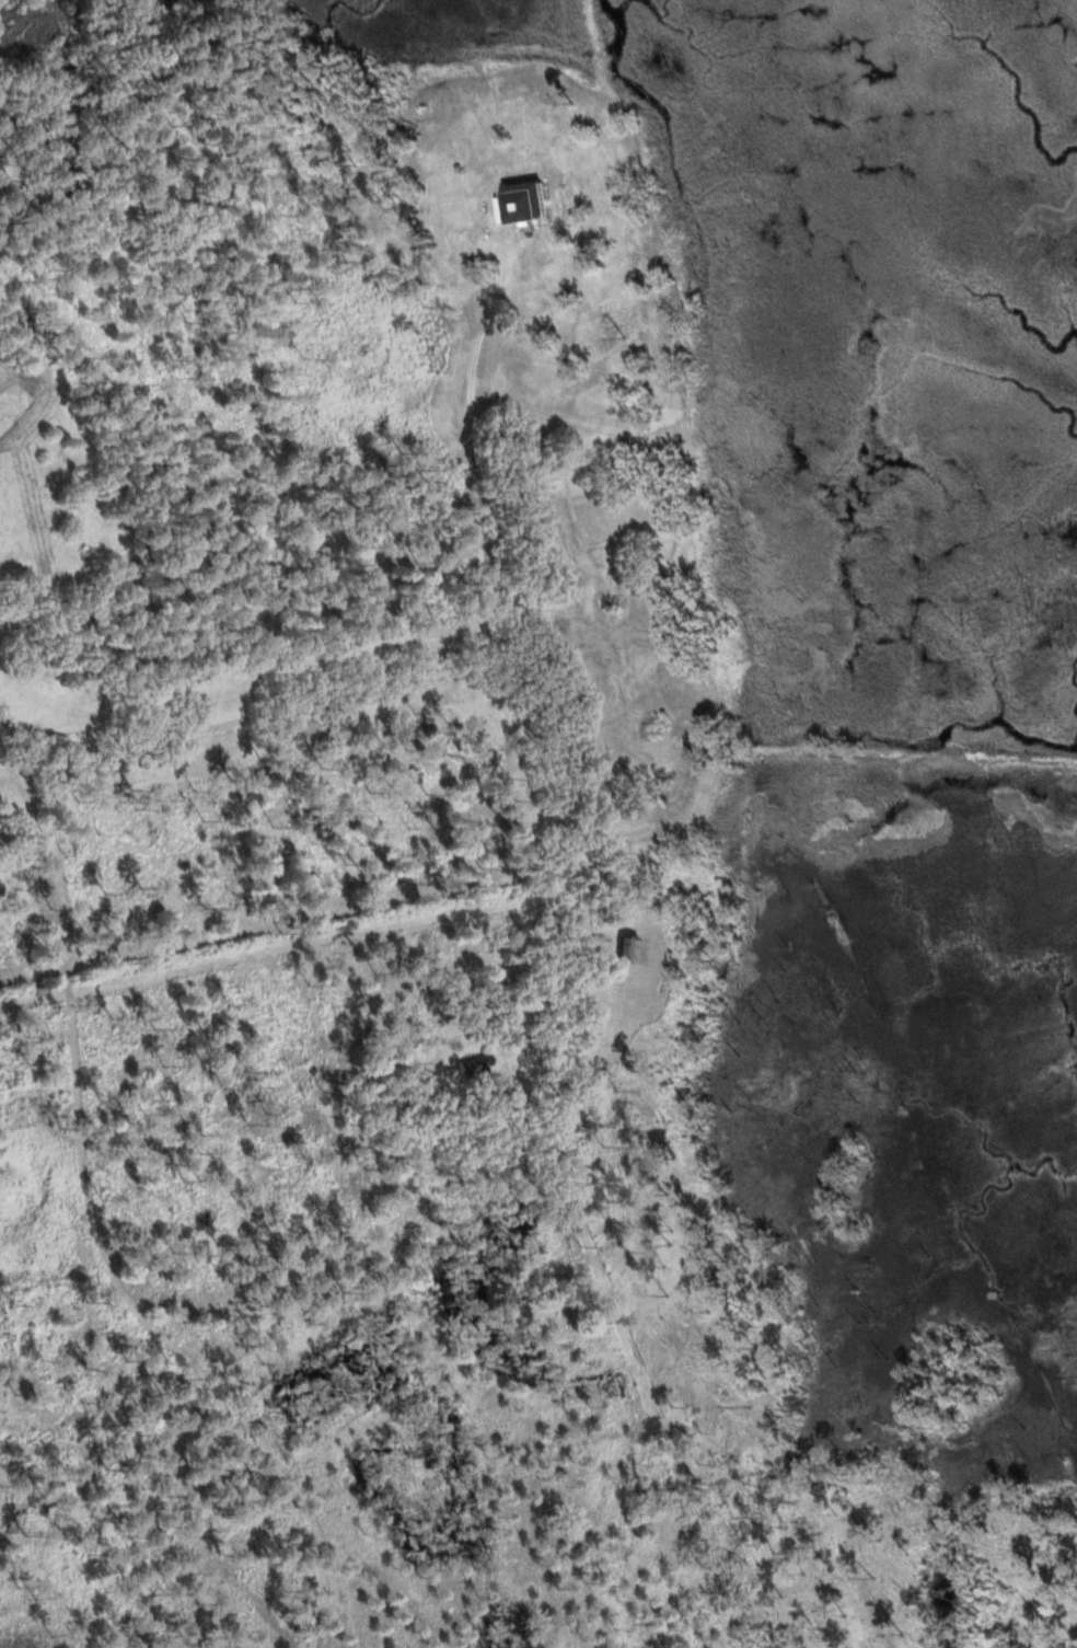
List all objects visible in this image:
building: (565, 509)
road: (604, 900)

